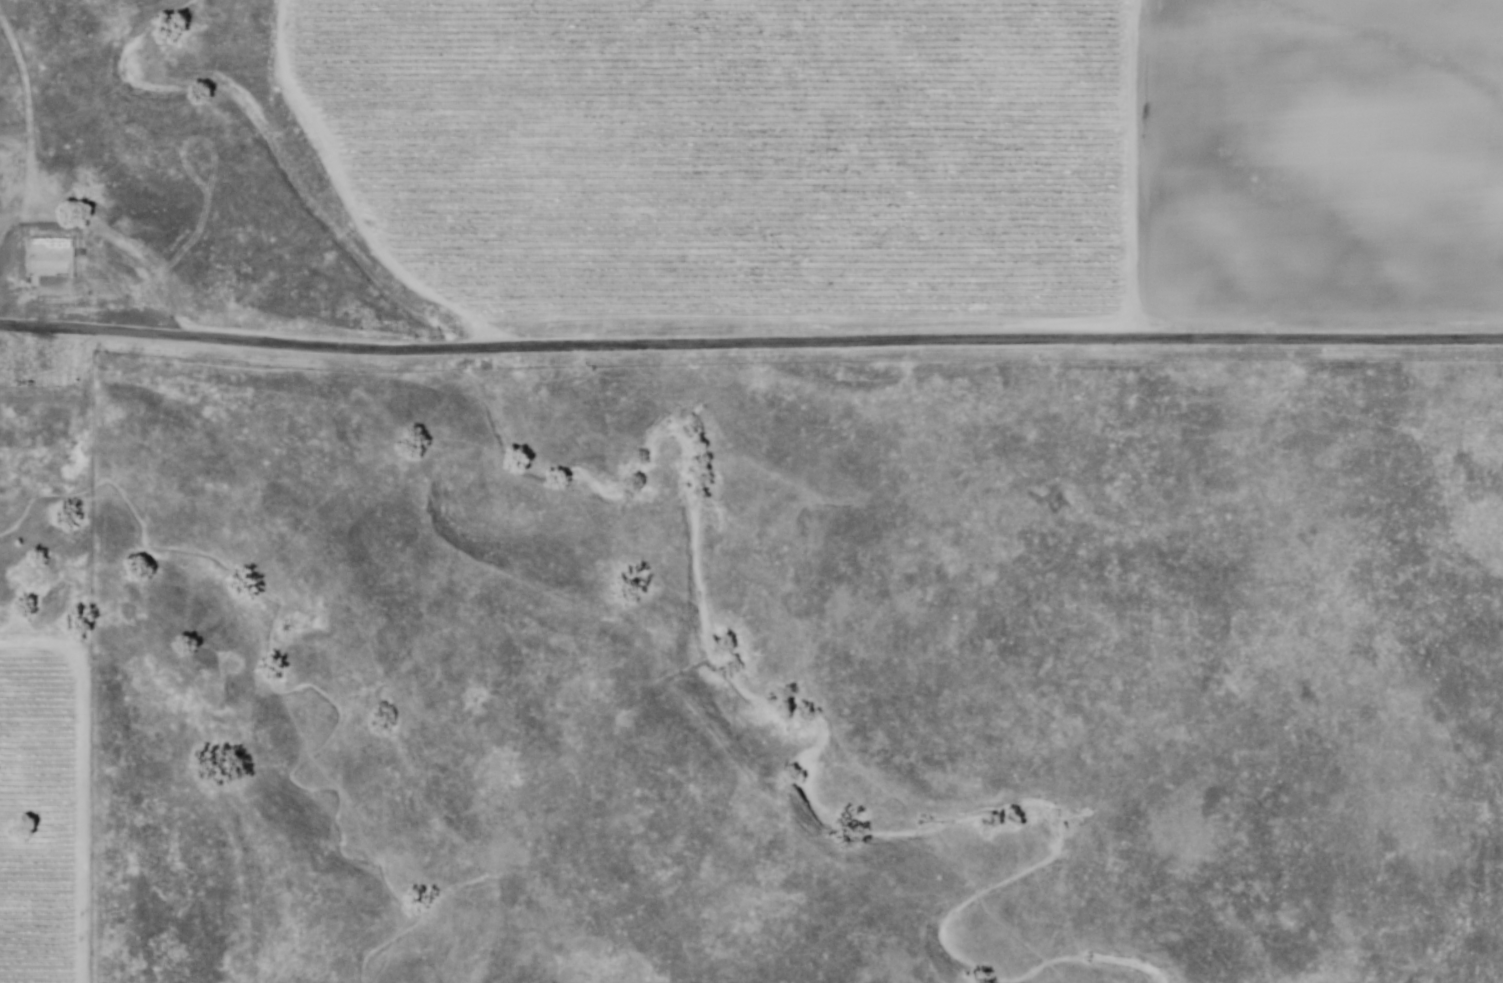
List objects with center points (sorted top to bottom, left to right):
road: (24, 69)
building: (38, 249)
road: (750, 343)
road: (84, 780)

